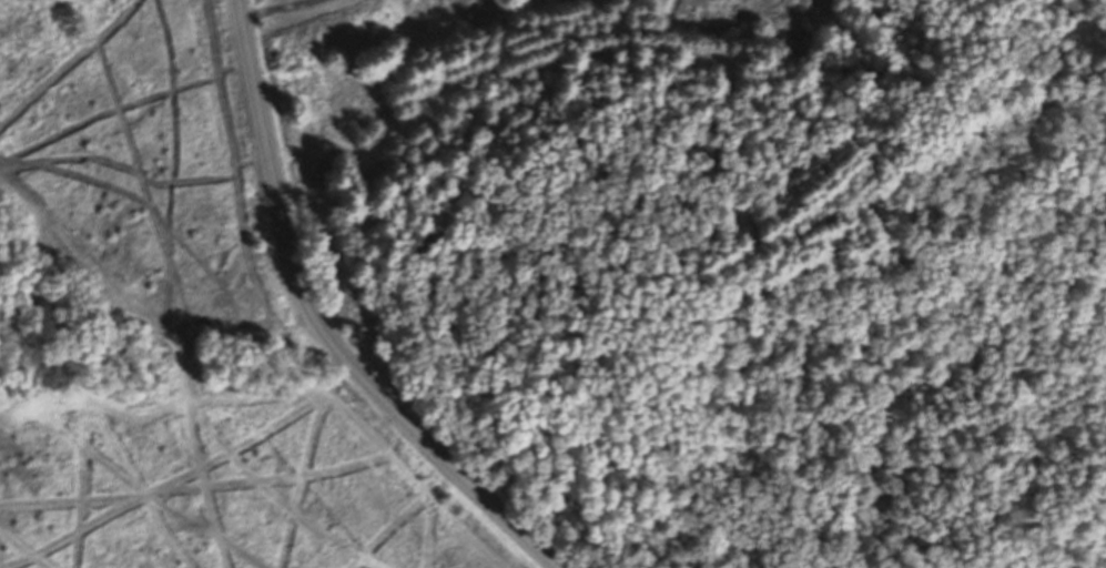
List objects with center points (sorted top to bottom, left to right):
road: (282, 11)
road: (319, 326)

